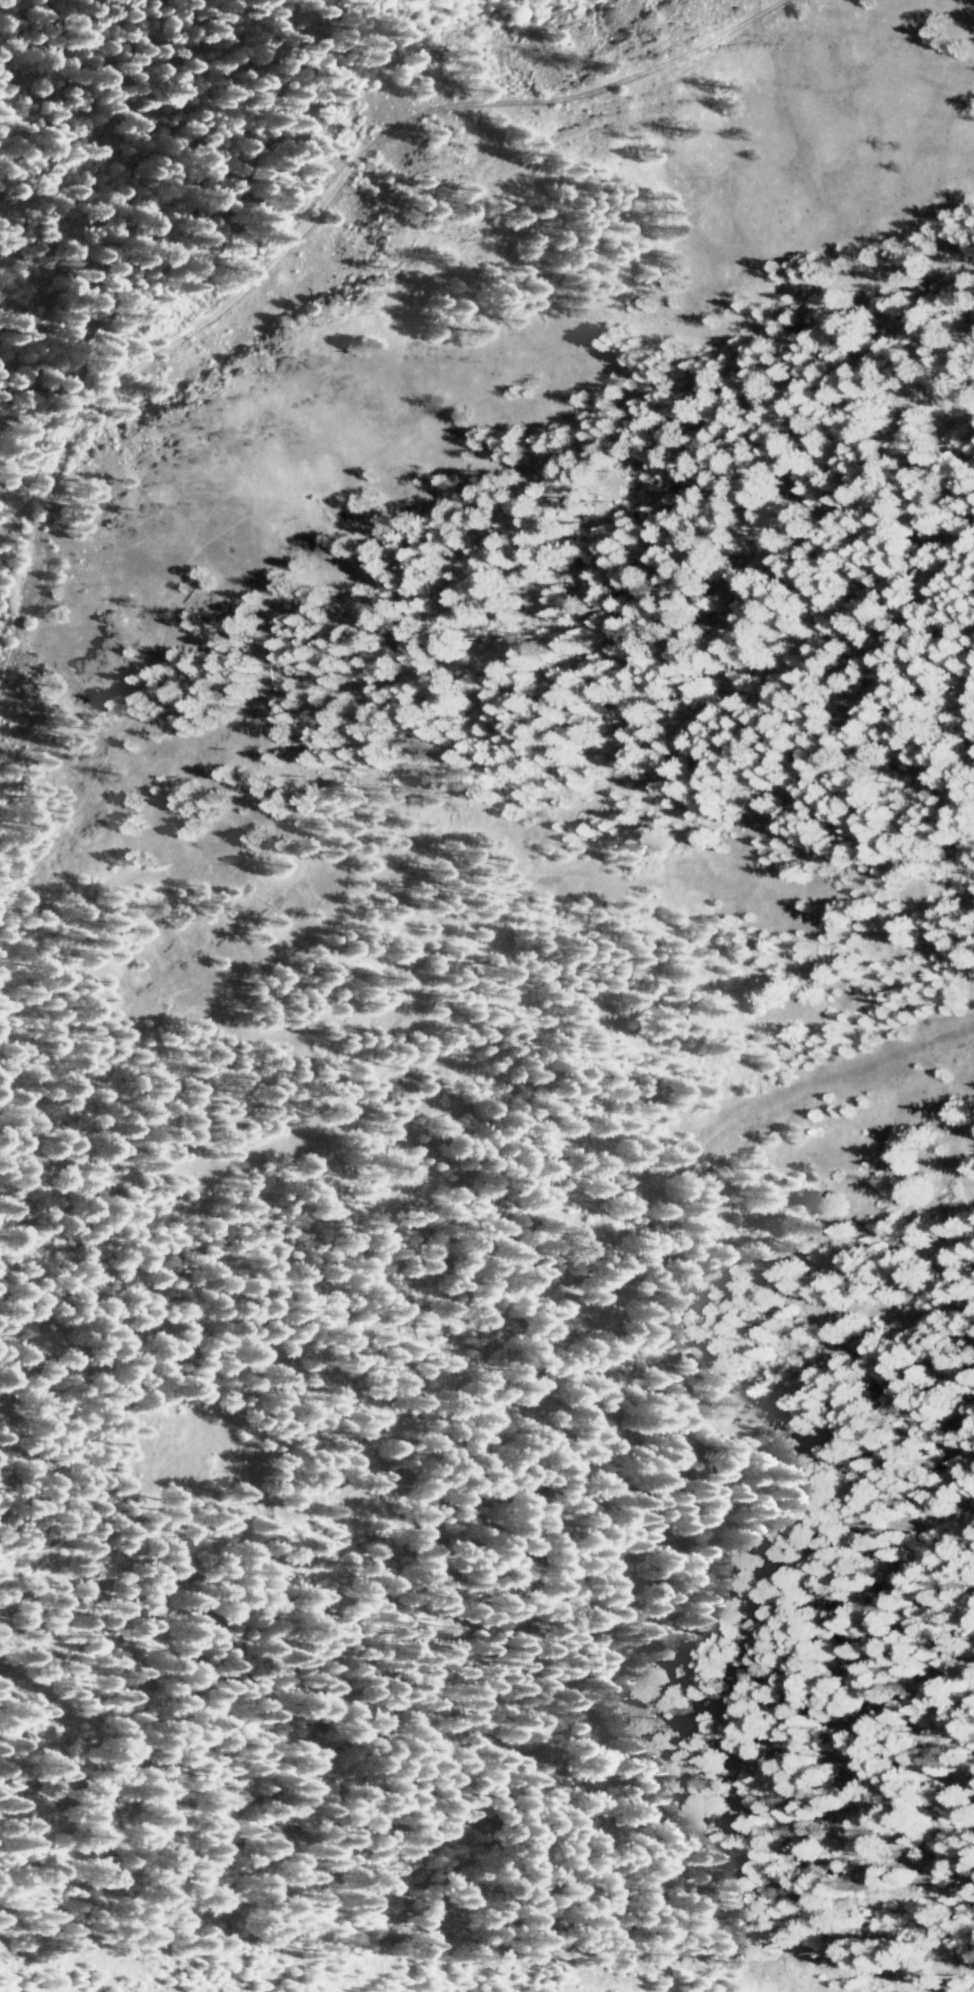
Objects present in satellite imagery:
road: (301, 239)
road: (838, 1076)

